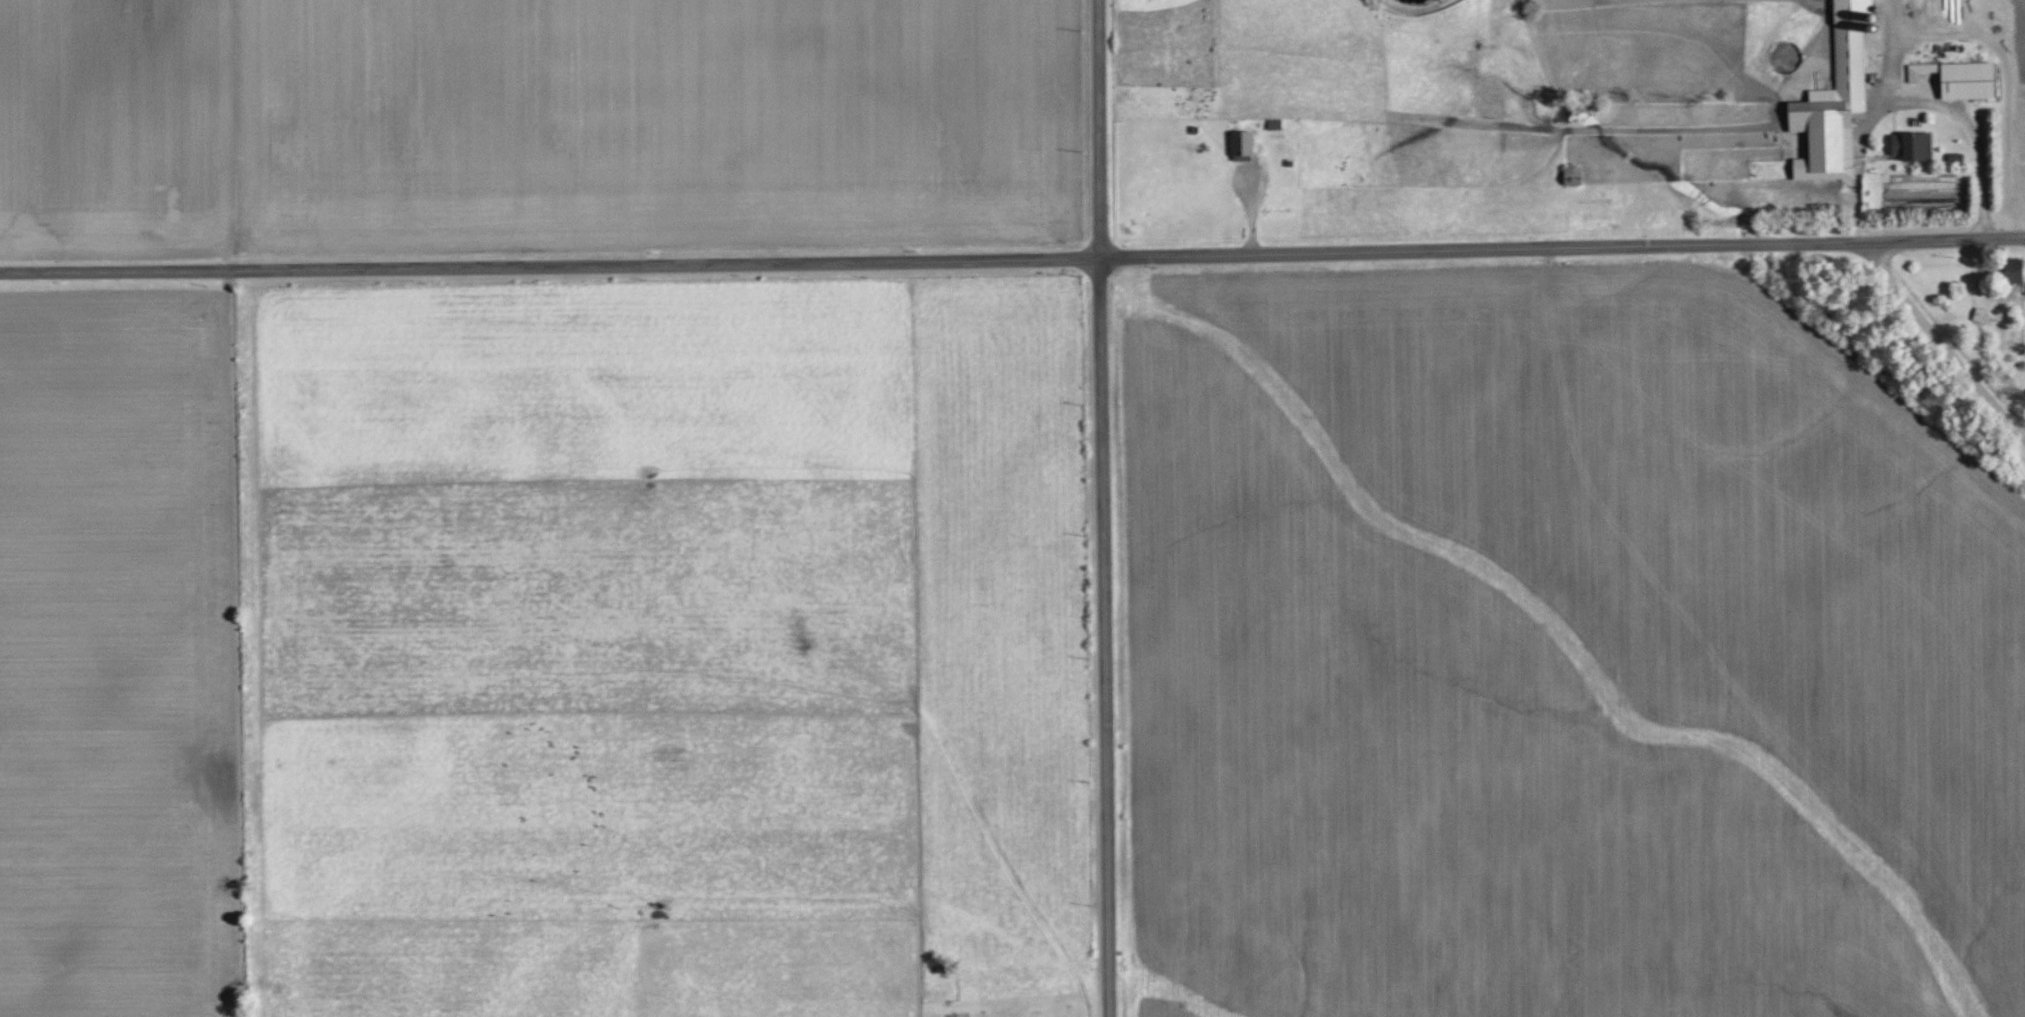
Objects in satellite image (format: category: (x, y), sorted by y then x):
road: (1886, 56)
building: (1961, 78)
building: (1836, 100)
road: (1943, 118)
building: (1243, 144)
building: (1913, 146)
road: (1012, 260)
building: (2016, 271)
road: (1942, 346)
road: (1102, 508)

